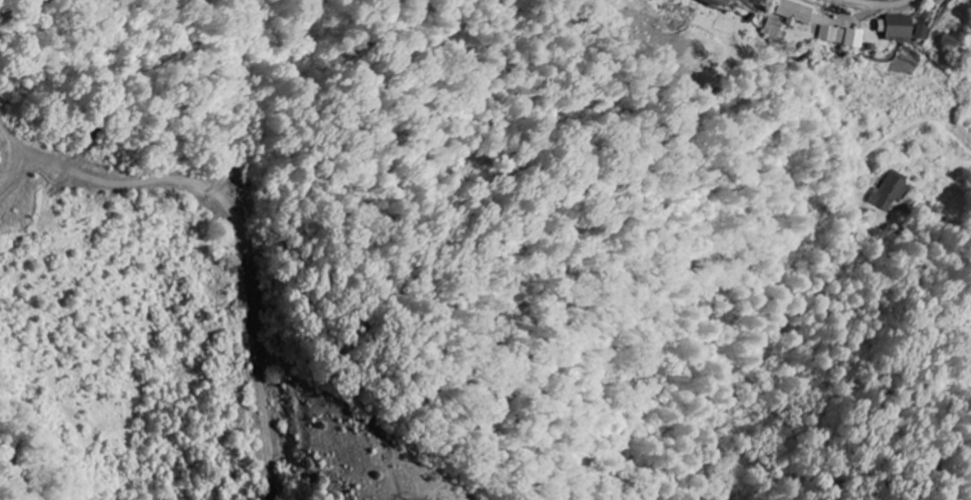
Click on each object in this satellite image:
building: (730, 1)
road: (882, 5)
building: (790, 18)
building: (903, 29)
building: (925, 32)
building: (834, 34)
building: (857, 38)
building: (891, 192)
road: (947, 219)
road: (119, 305)

